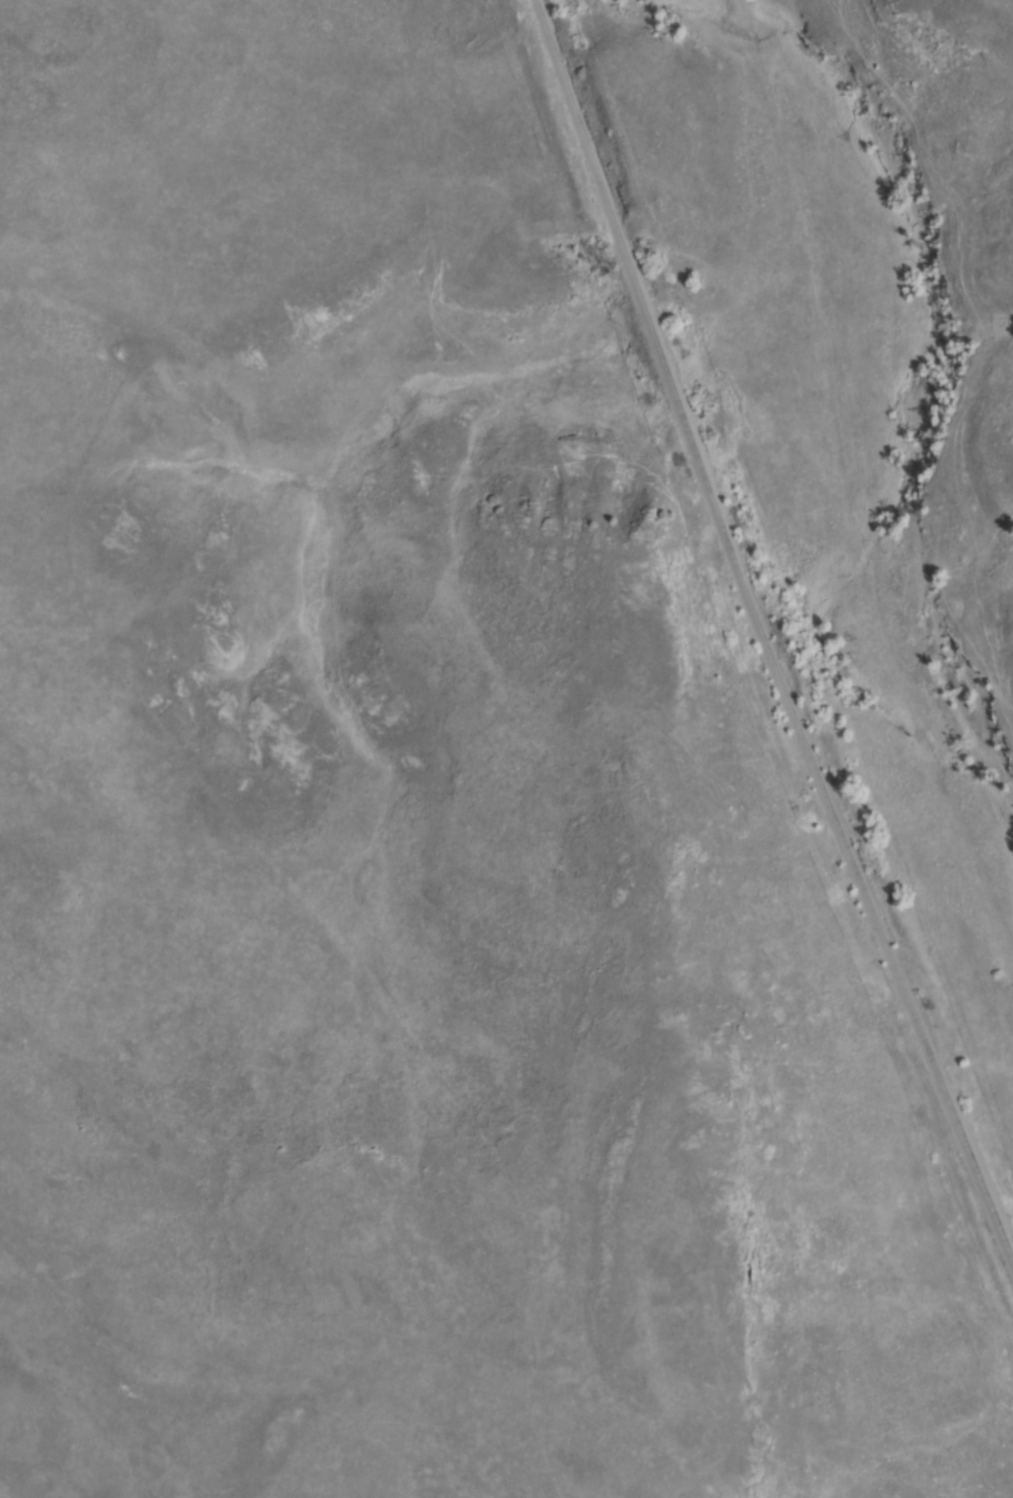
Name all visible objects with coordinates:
railway: (761, 637)

